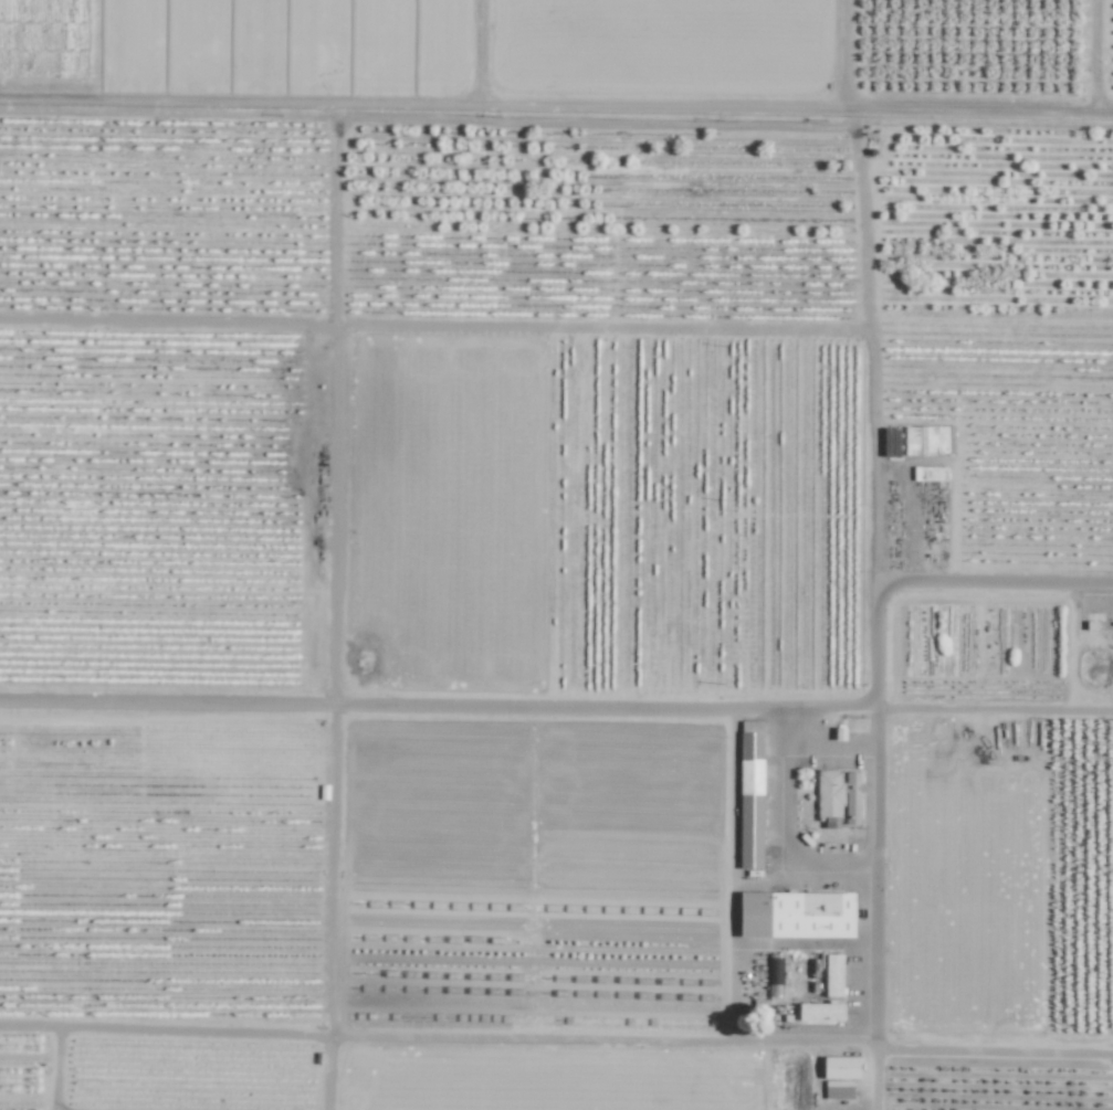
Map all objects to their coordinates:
road: (556, 114)
road: (433, 321)
road: (868, 348)
road: (994, 583)
road: (327, 611)
crop: (557, 632)
road: (438, 700)
road: (995, 704)
building: (748, 796)
building: (837, 799)
road: (875, 807)
building: (796, 915)
building: (833, 975)
building: (774, 992)
building: (820, 1013)
road: (437, 1033)
road: (993, 1047)
building: (840, 1067)
road: (52, 1068)
road: (873, 1072)
building: (837, 1089)

